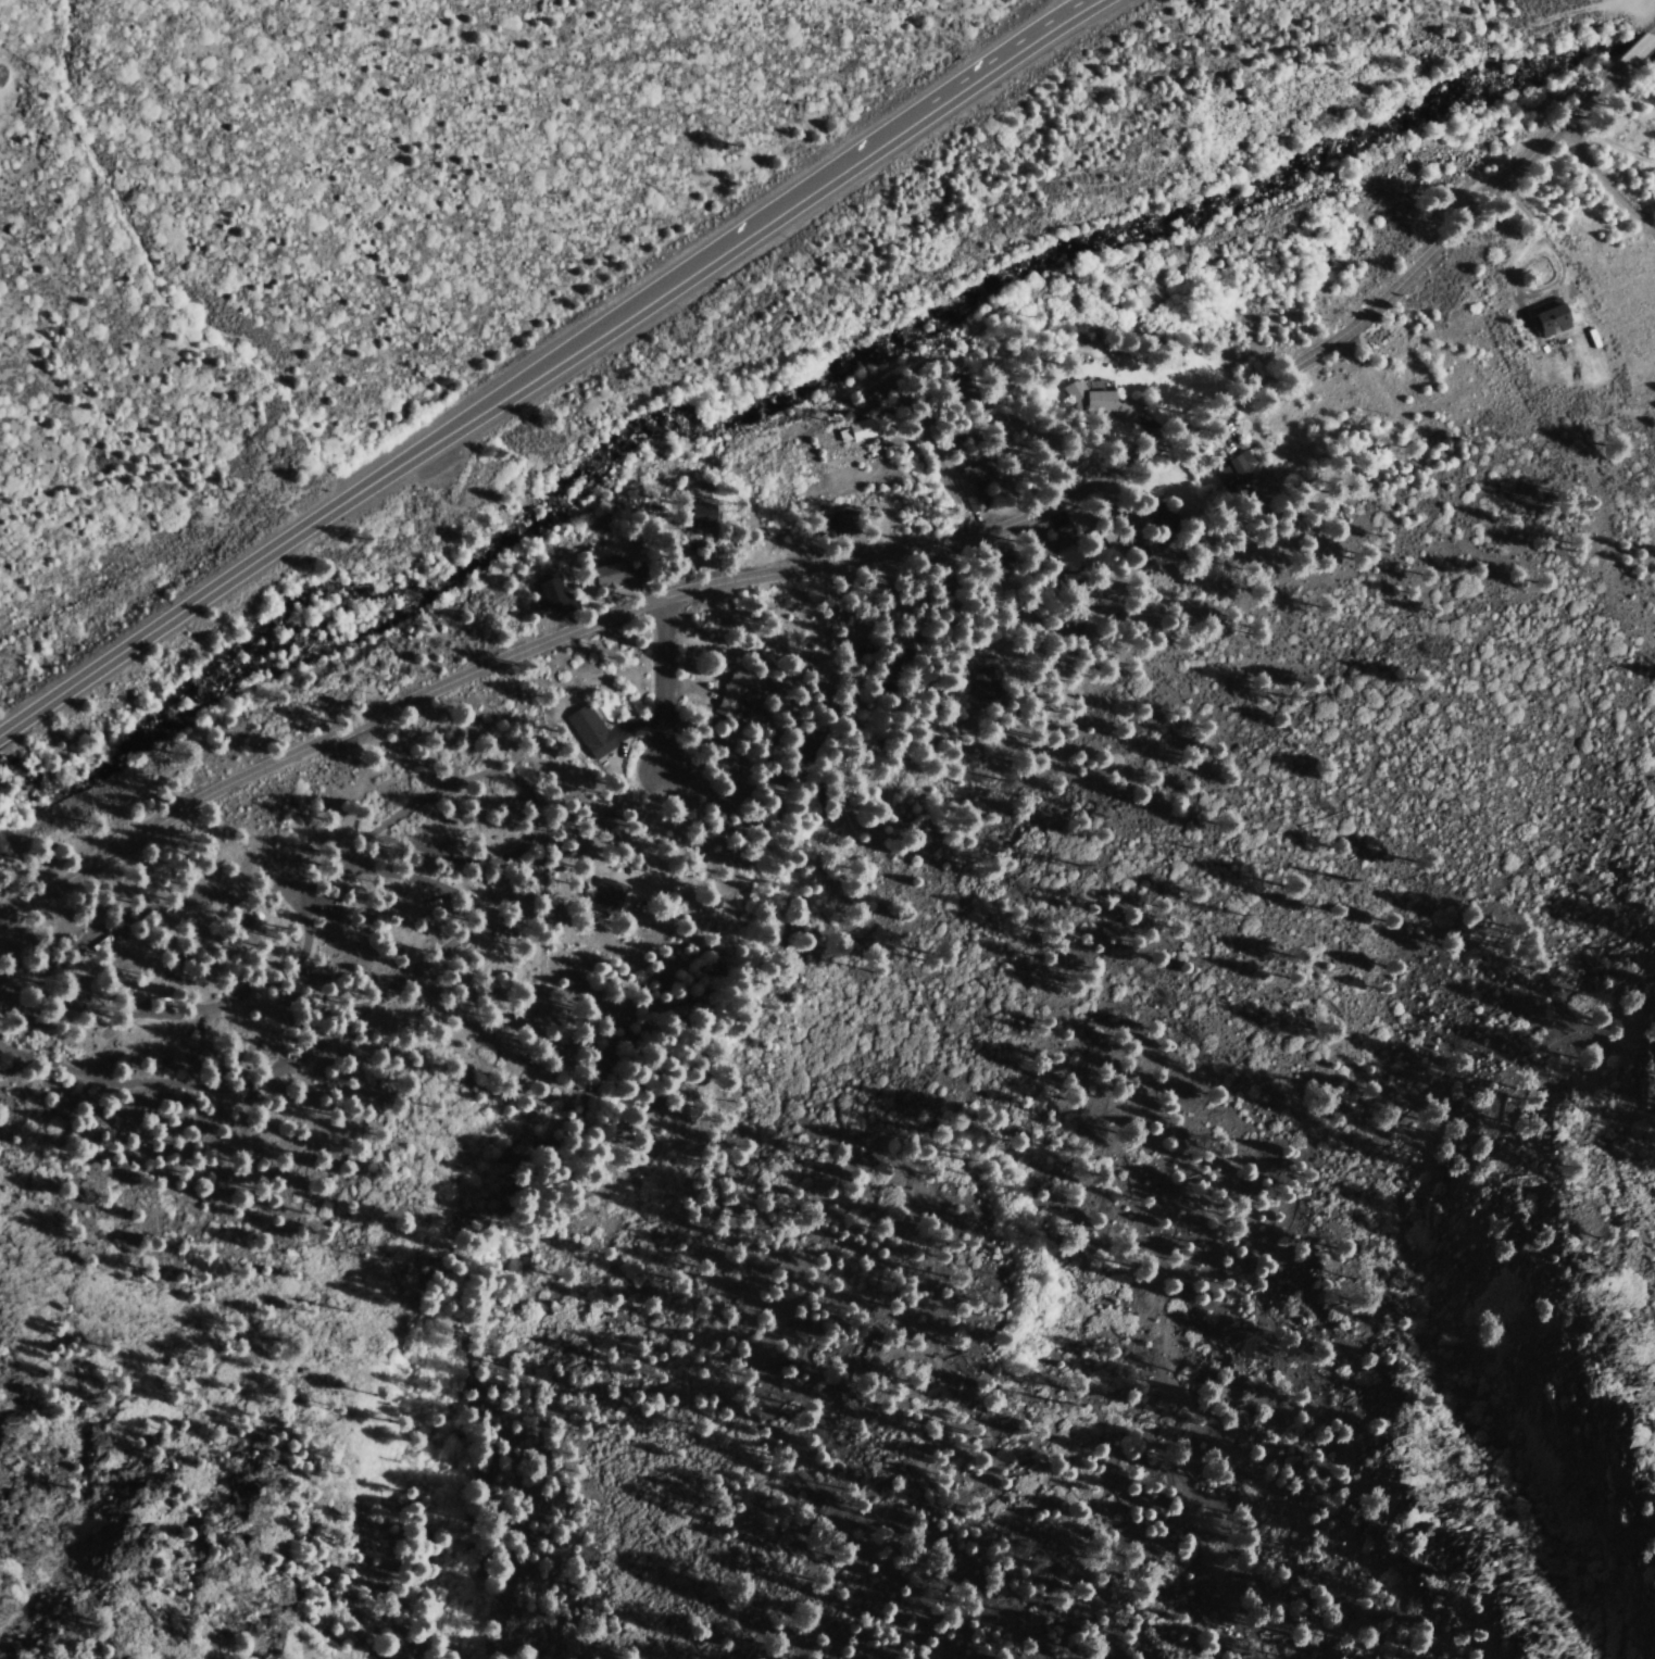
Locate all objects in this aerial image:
river: (1639, 48)
road: (1641, 49)
road: (1612, 142)
road: (856, 162)
road: (1604, 186)
river: (1074, 250)
building: (1553, 322)
building: (929, 388)
building: (1094, 401)
building: (858, 433)
building: (1234, 467)
building: (976, 483)
building: (705, 514)
road: (304, 526)
building: (840, 528)
building: (1156, 528)
building: (1057, 539)
building: (1131, 549)
building: (712, 551)
building: (1005, 560)
road: (857, 562)
building: (951, 575)
building: (612, 576)
building: (1179, 576)
building: (557, 596)
building: (1078, 596)
building: (893, 634)
river: (279, 646)
building: (1005, 679)
road: (667, 688)
building: (738, 691)
building: (592, 734)
road: (405, 814)
building: (609, 818)
road: (363, 838)
building: (609, 894)
building: (324, 908)
road: (437, 965)
road: (16, 969)
road: (208, 1013)

